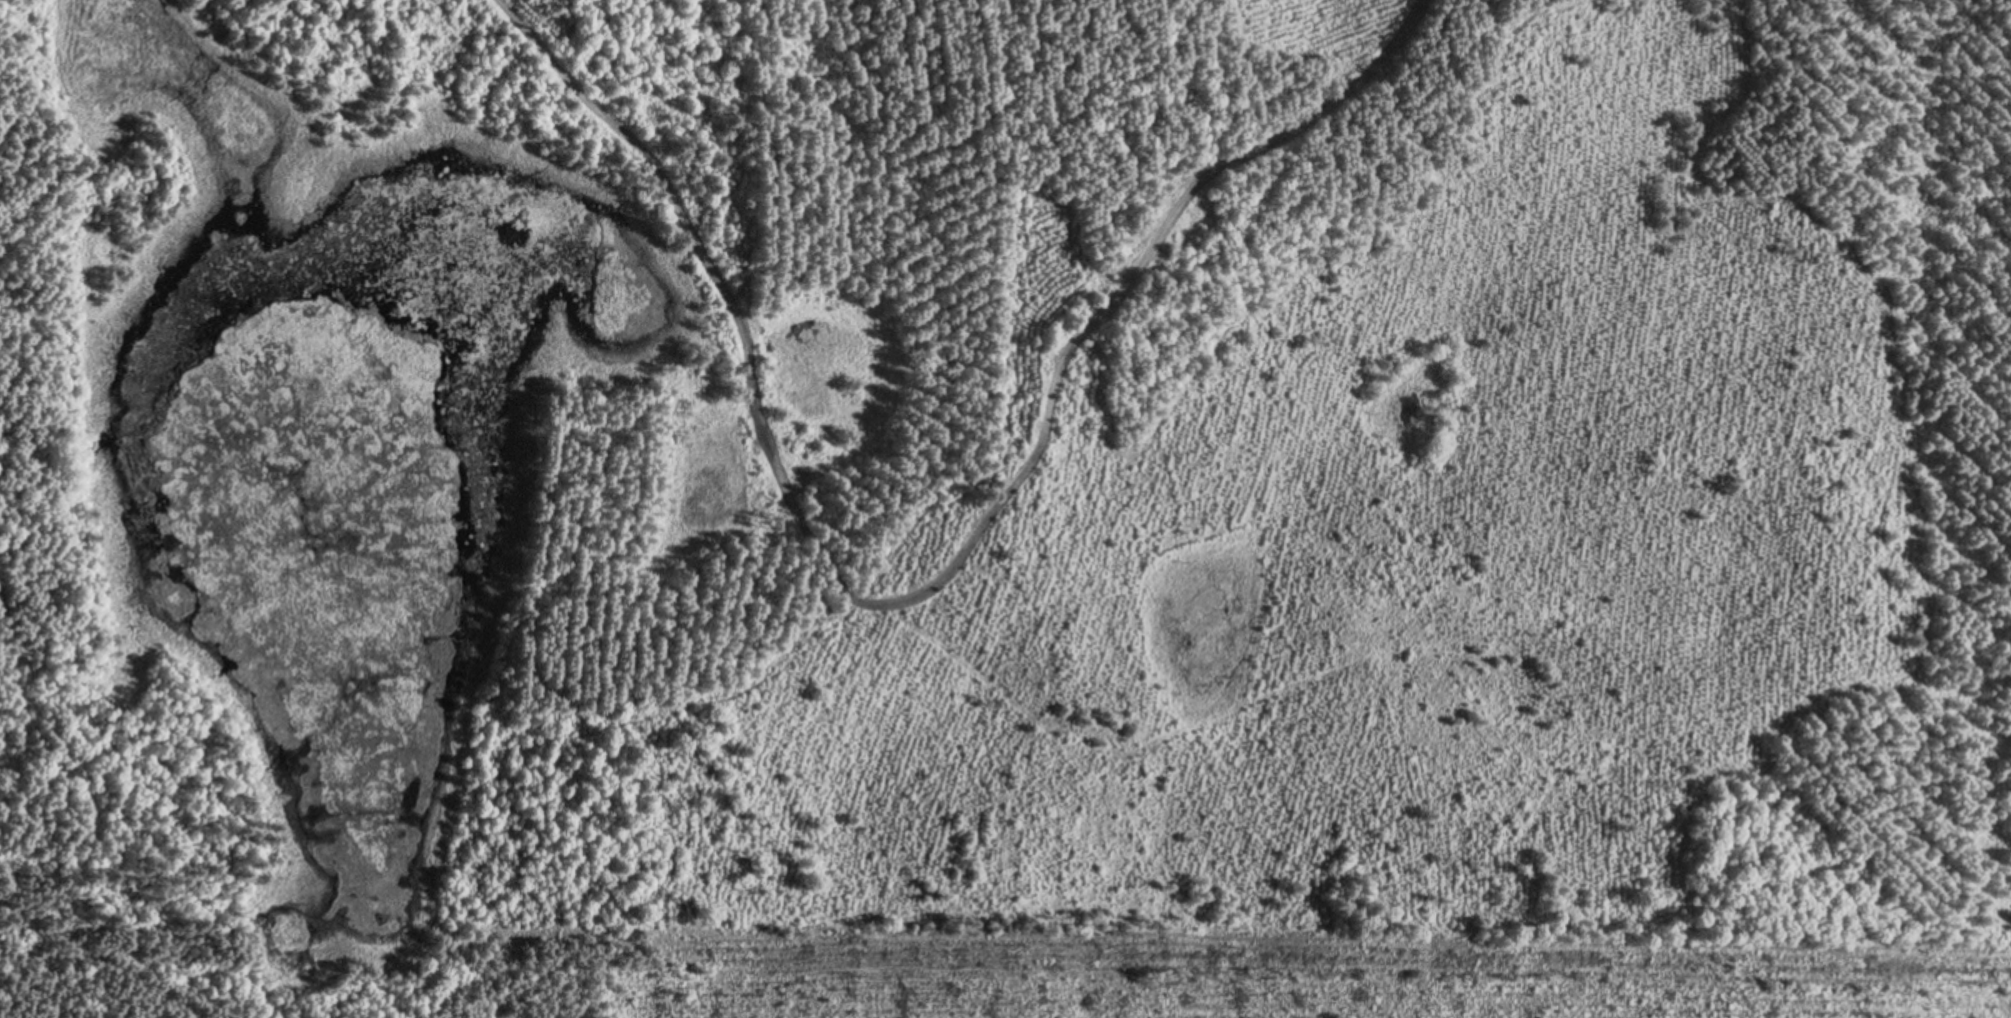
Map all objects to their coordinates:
road: (682, 201)
road: (76, 999)
road: (1246, 999)

